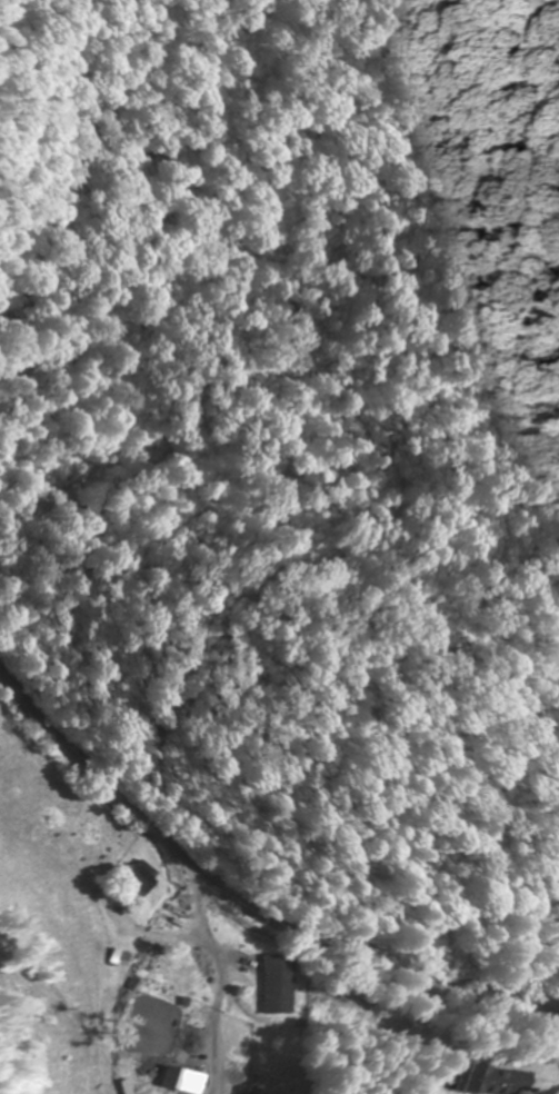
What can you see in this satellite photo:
building: (139, 883)
road: (241, 911)
building: (116, 965)
building: (176, 981)
building: (282, 992)
building: (178, 1080)
building: (496, 1081)

